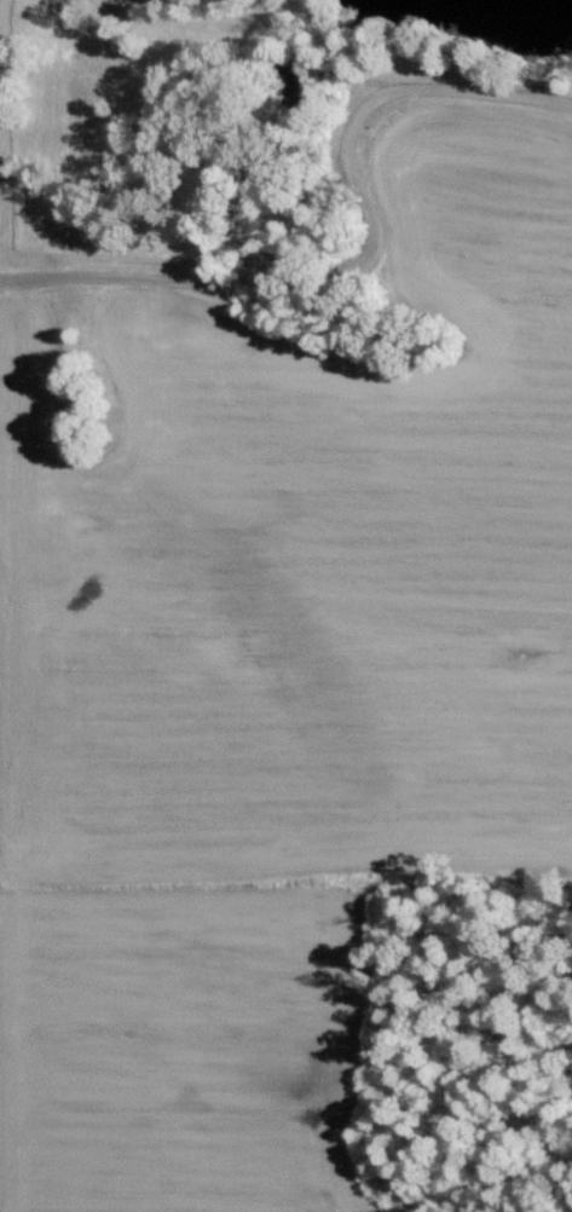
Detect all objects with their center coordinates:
road: (352, 256)

